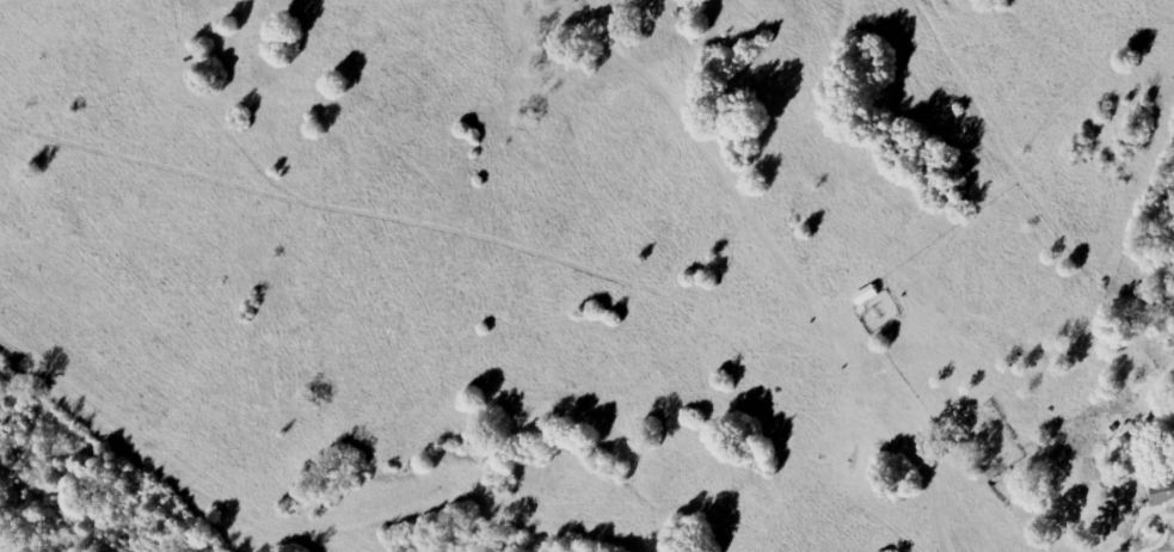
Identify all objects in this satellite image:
road: (848, 352)
building: (1162, 492)
road: (1135, 528)

